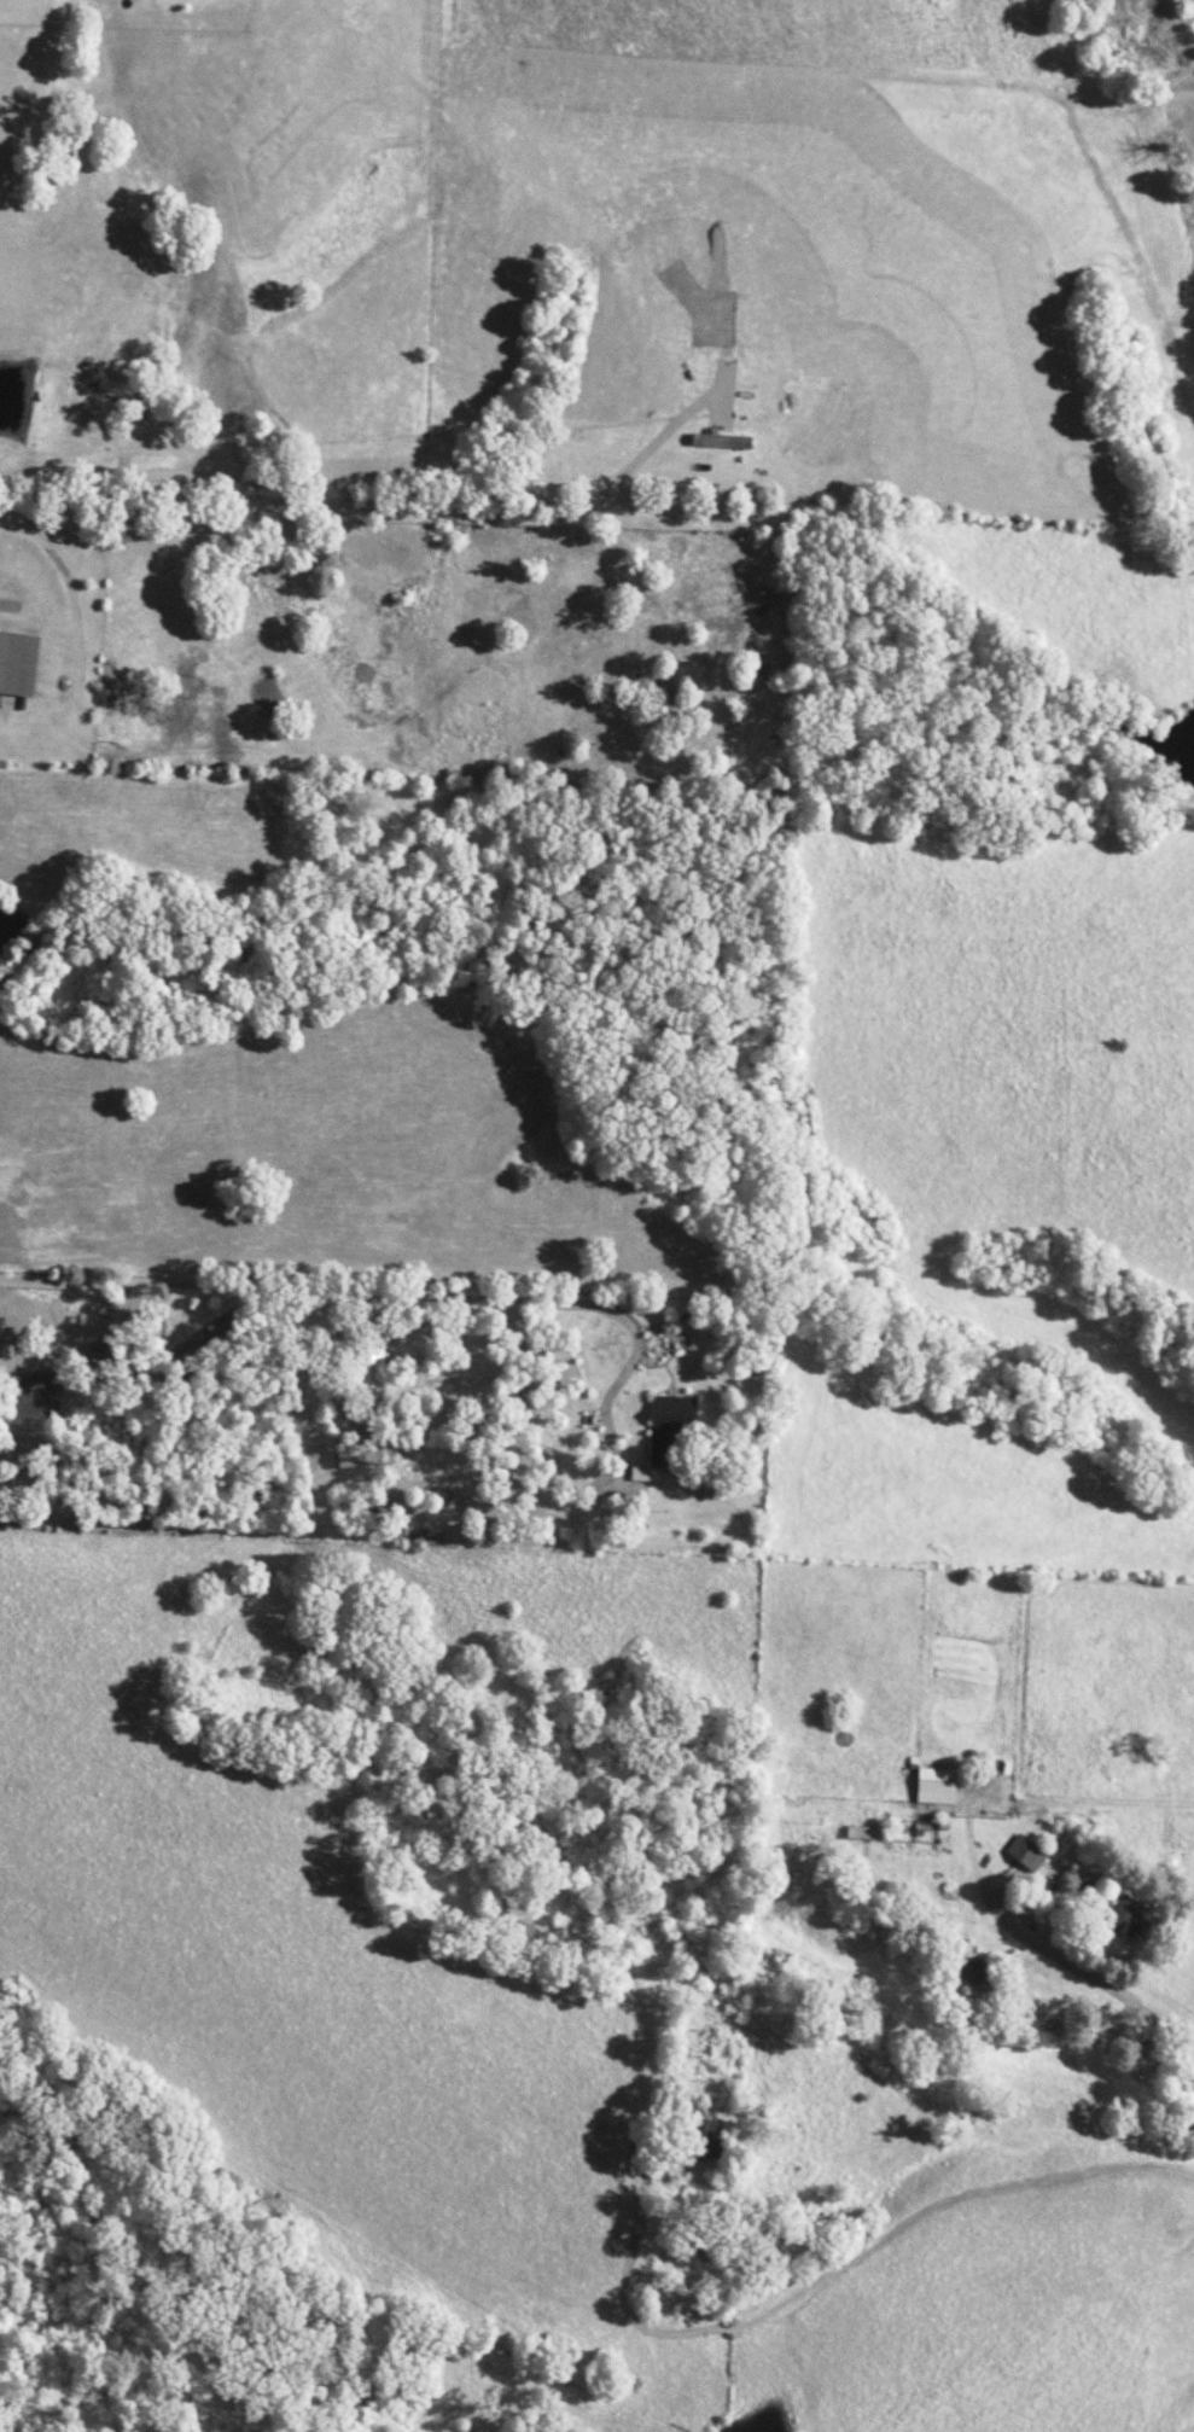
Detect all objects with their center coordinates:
building: (17, 663)
road: (386, 1293)
building: (668, 1426)
building: (350, 1458)
building: (934, 1785)
building: (1024, 1852)
building: (1125, 1919)
road: (1089, 1973)
building: (978, 1976)
road: (825, 2275)

